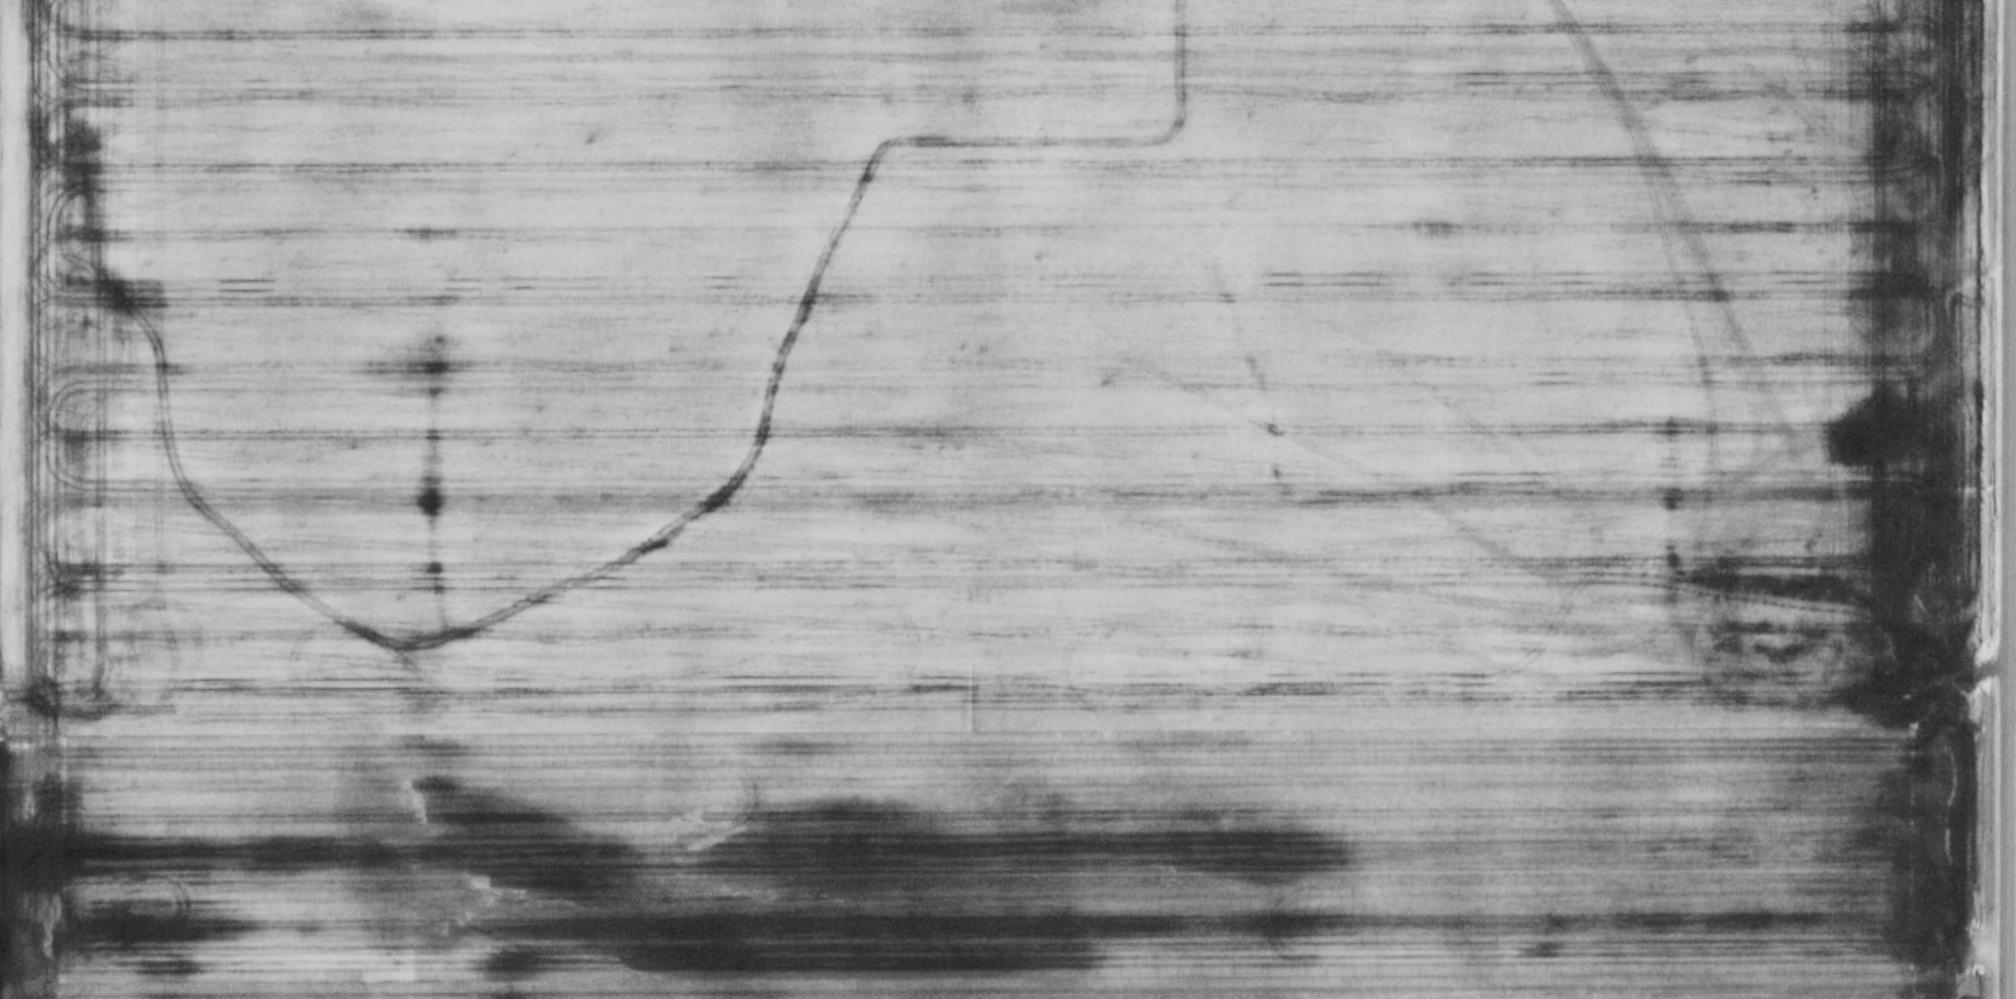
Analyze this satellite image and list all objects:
road: (2015, 822)

